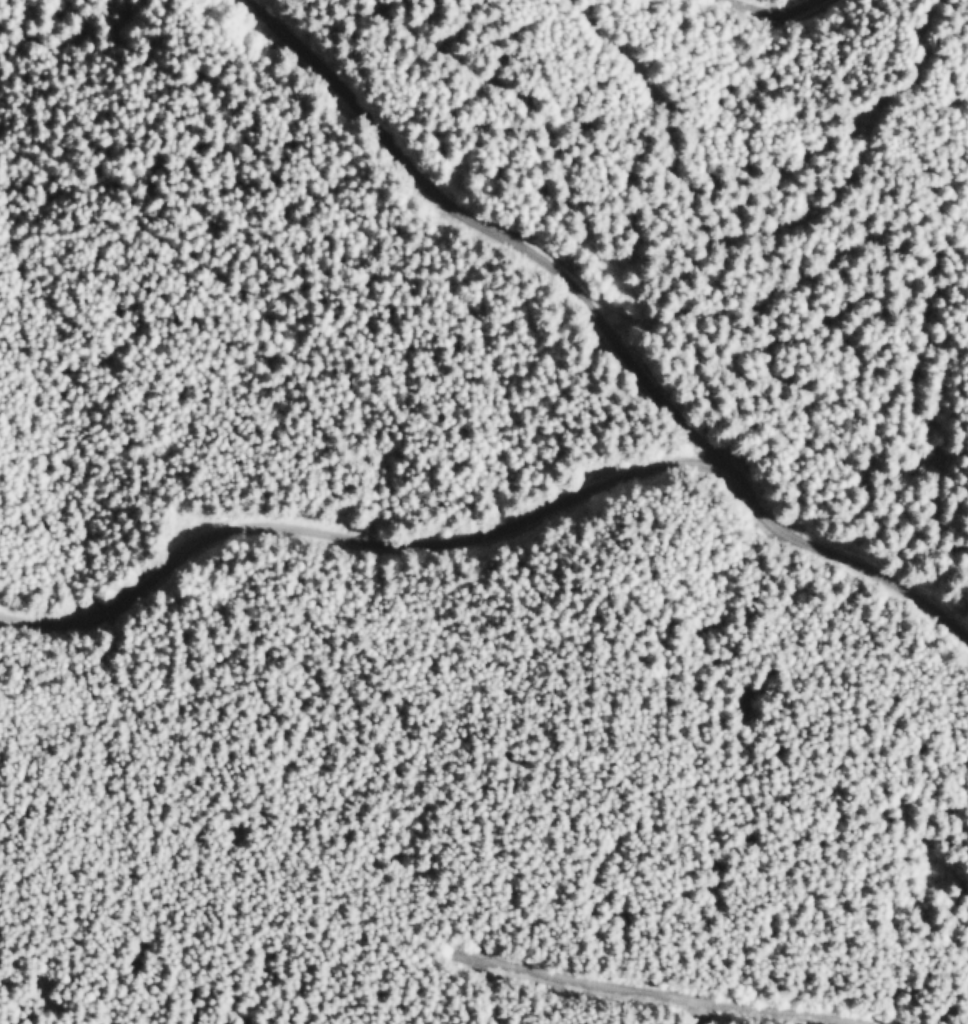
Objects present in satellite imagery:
road: (784, 20)
road: (497, 229)
road: (498, 533)
road: (661, 990)

